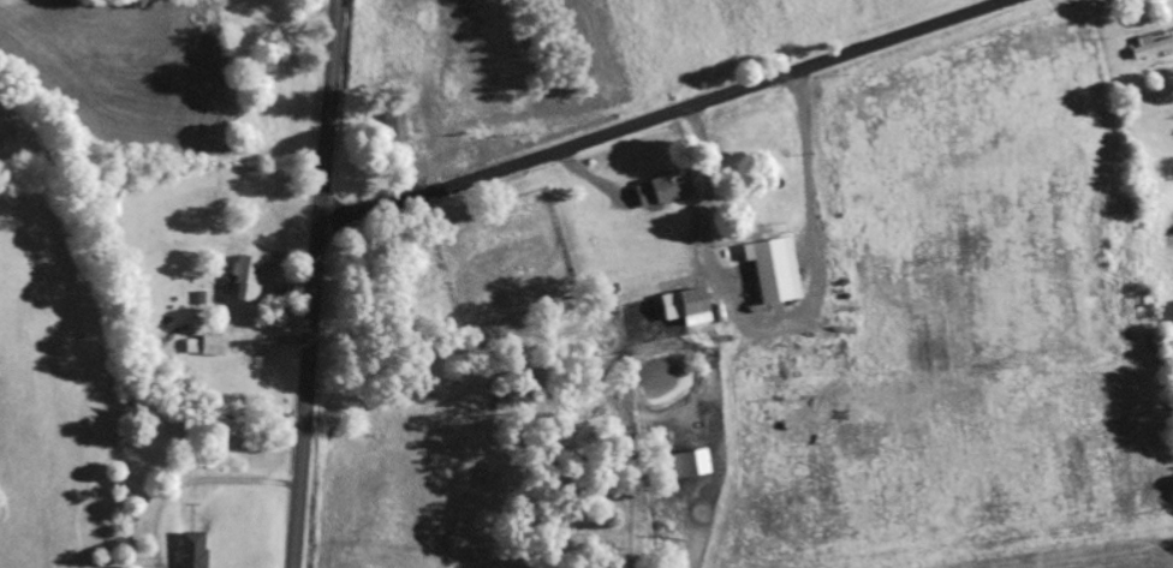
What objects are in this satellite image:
building: (240, 1)
building: (1145, 49)
road: (671, 115)
building: (392, 122)
building: (657, 189)
building: (767, 270)
building: (240, 280)
road: (315, 283)
building: (683, 309)
building: (594, 337)
building: (208, 346)
building: (680, 465)
building: (186, 550)

